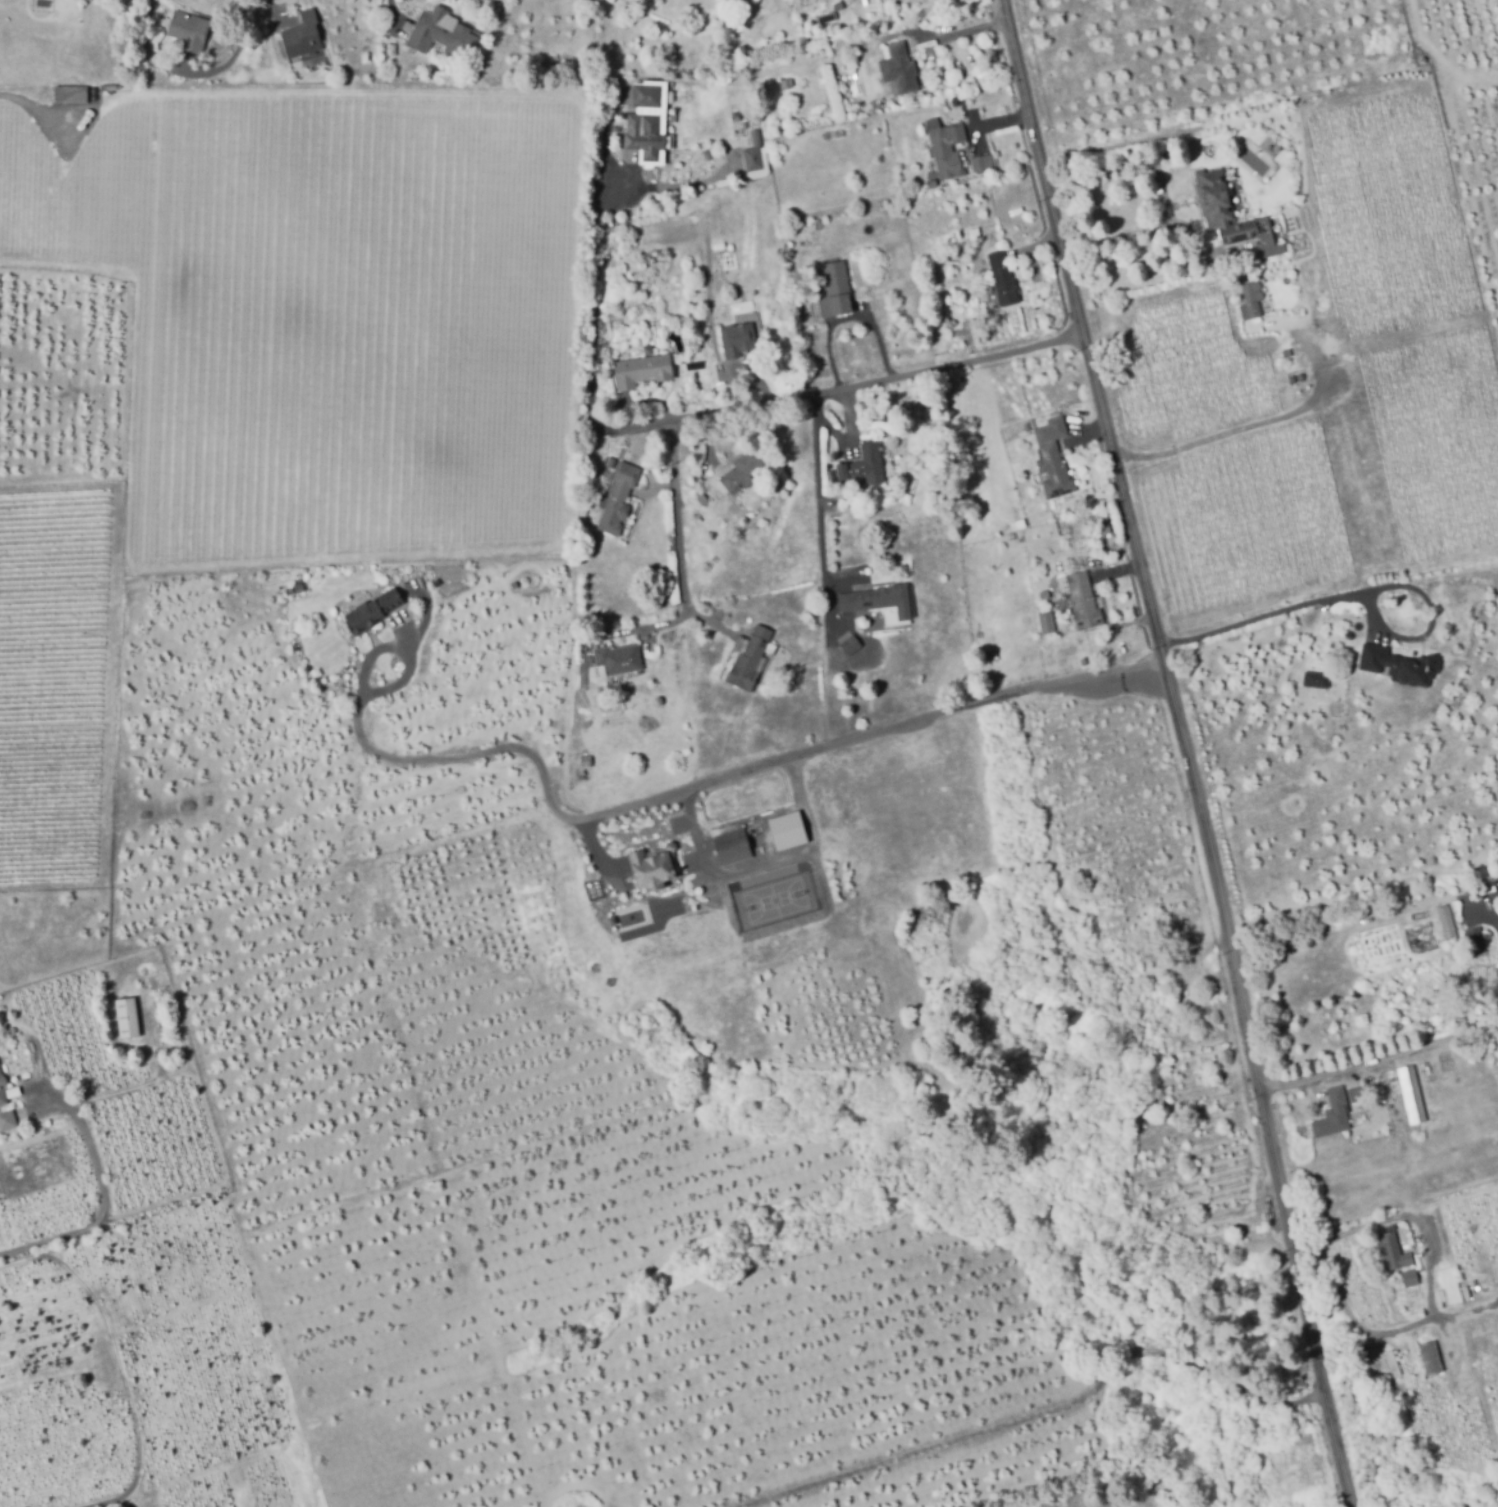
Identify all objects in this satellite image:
building: (798, 9)
road: (392, 13)
building: (190, 31)
road: (962, 34)
building: (443, 35)
building: (303, 36)
building: (140, 57)
building: (901, 68)
building: (787, 82)
building: (43, 87)
building: (72, 94)
building: (649, 123)
building: (947, 147)
building: (706, 153)
building: (757, 157)
building: (984, 161)
building: (727, 182)
building: (933, 182)
building: (597, 189)
building: (1232, 214)
road: (1121, 237)
building: (974, 239)
building: (1004, 278)
building: (836, 289)
building: (1253, 300)
road: (844, 319)
building: (739, 339)
building: (632, 346)
building: (681, 360)
building: (642, 370)
road: (742, 409)
road: (1256, 423)
road: (831, 431)
building: (609, 454)
building: (1054, 459)
building: (866, 464)
building: (743, 470)
building: (619, 496)
building: (704, 499)
road: (819, 502)
building: (1102, 523)
road: (680, 541)
building: (1092, 560)
building: (1060, 566)
road: (1450, 576)
building: (299, 587)
road: (1350, 596)
building: (879, 599)
building: (1081, 599)
building: (373, 611)
building: (1066, 621)
building: (1048, 622)
road: (670, 628)
building: (851, 644)
building: (752, 657)
building: (618, 659)
building: (1400, 664)
building: (1321, 679)
road: (1451, 717)
road: (1179, 754)
building: (587, 761)
road: (678, 791)
building: (786, 830)
building: (732, 846)
road: (594, 855)
building: (653, 867)
building: (1447, 921)
building: (1480, 953)
building: (128, 1017)
road: (1380, 1056)
building: (1446, 1061)
building: (2, 1088)
building: (1359, 1092)
building: (1413, 1093)
building: (1334, 1114)
building: (1366, 1117)
building: (8, 1120)
building: (1363, 1137)
building: (1396, 1144)
building: (1401, 1161)
building: (1447, 1169)
building: (1479, 1171)
road: (101, 1194)
road: (1389, 1217)
building: (1394, 1248)
building: (1411, 1276)
building: (1449, 1287)
building: (1489, 1334)
building: (1429, 1352)
road: (119, 1361)
building: (1394, 1362)
road: (1046, 1415)

